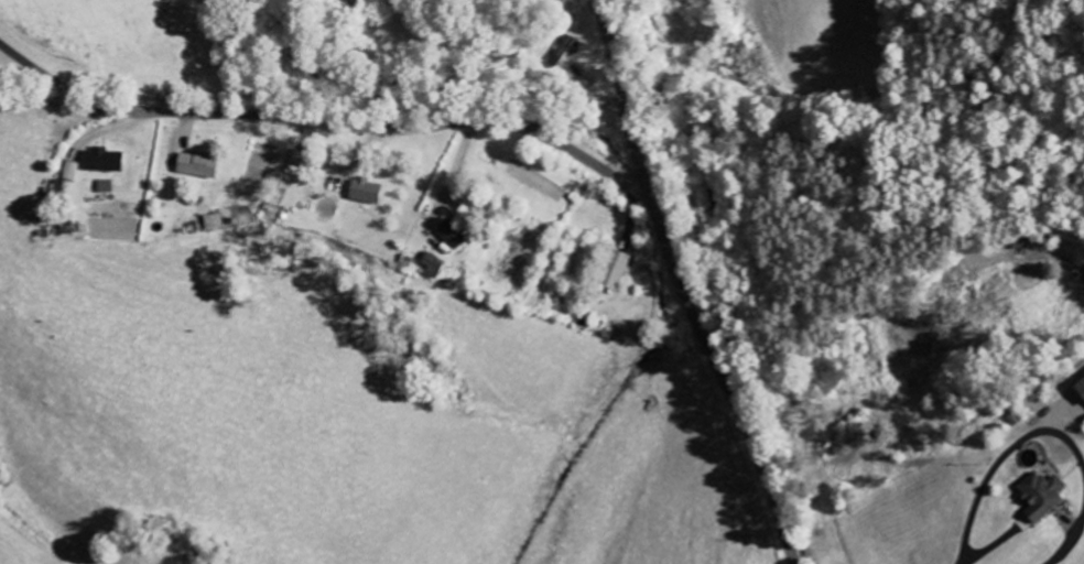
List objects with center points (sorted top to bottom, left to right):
building: (562, 52)
road: (326, 122)
building: (301, 160)
building: (101, 161)
building: (197, 166)
building: (104, 187)
building: (366, 192)
building: (212, 221)
building: (453, 235)
building: (1022, 243)
building: (432, 265)
road: (681, 286)
building: (1080, 390)
building: (1040, 496)

